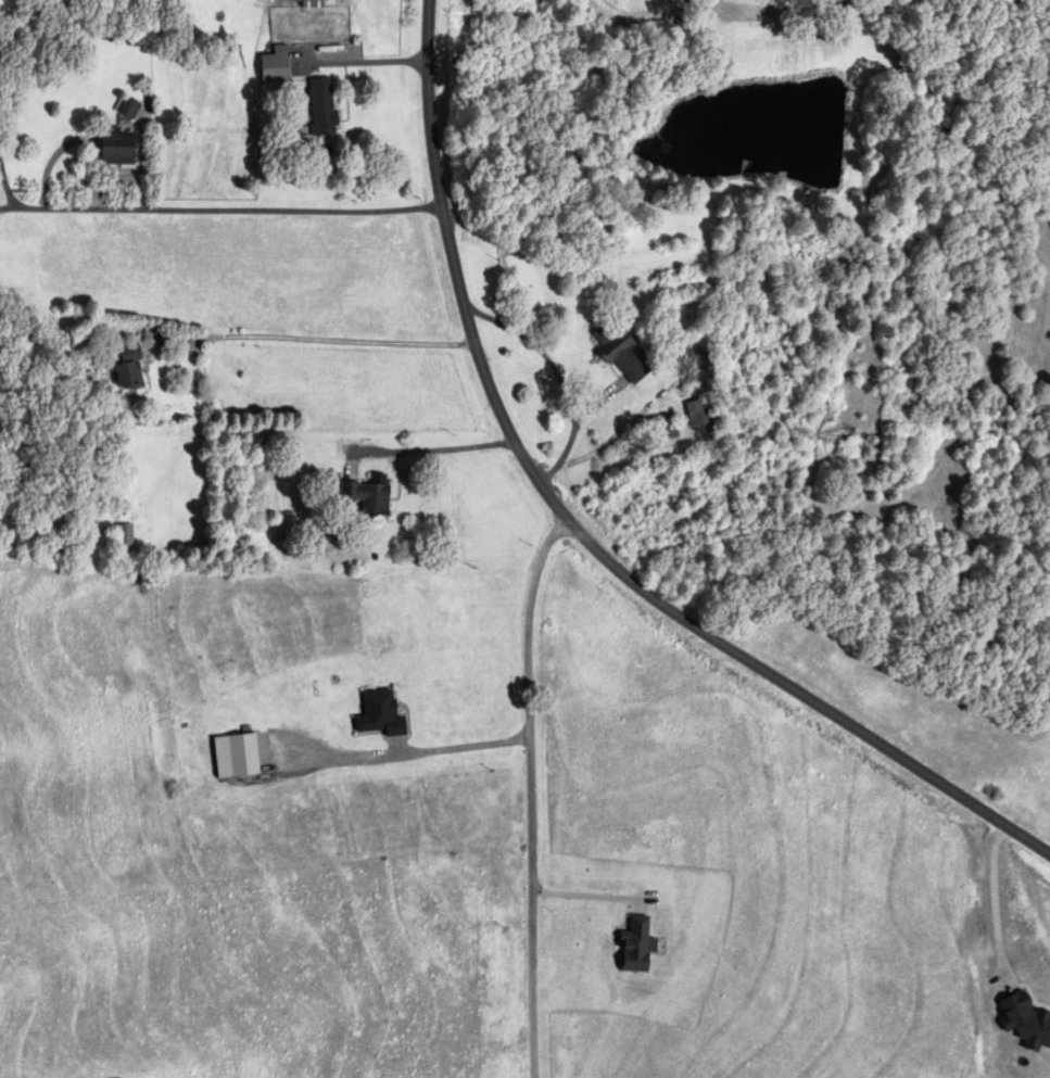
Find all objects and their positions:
building: (313, 3)
road: (370, 61)
building: (276, 66)
building: (321, 107)
building: (128, 109)
building: (117, 149)
road: (7, 185)
road: (9, 207)
road: (231, 210)
road: (320, 340)
building: (621, 354)
building: (129, 370)
road: (559, 378)
building: (703, 421)
building: (666, 428)
road: (437, 449)
building: (367, 497)
road: (587, 530)
building: (125, 538)
road: (444, 748)
road: (531, 789)
road: (585, 895)
road: (996, 904)

